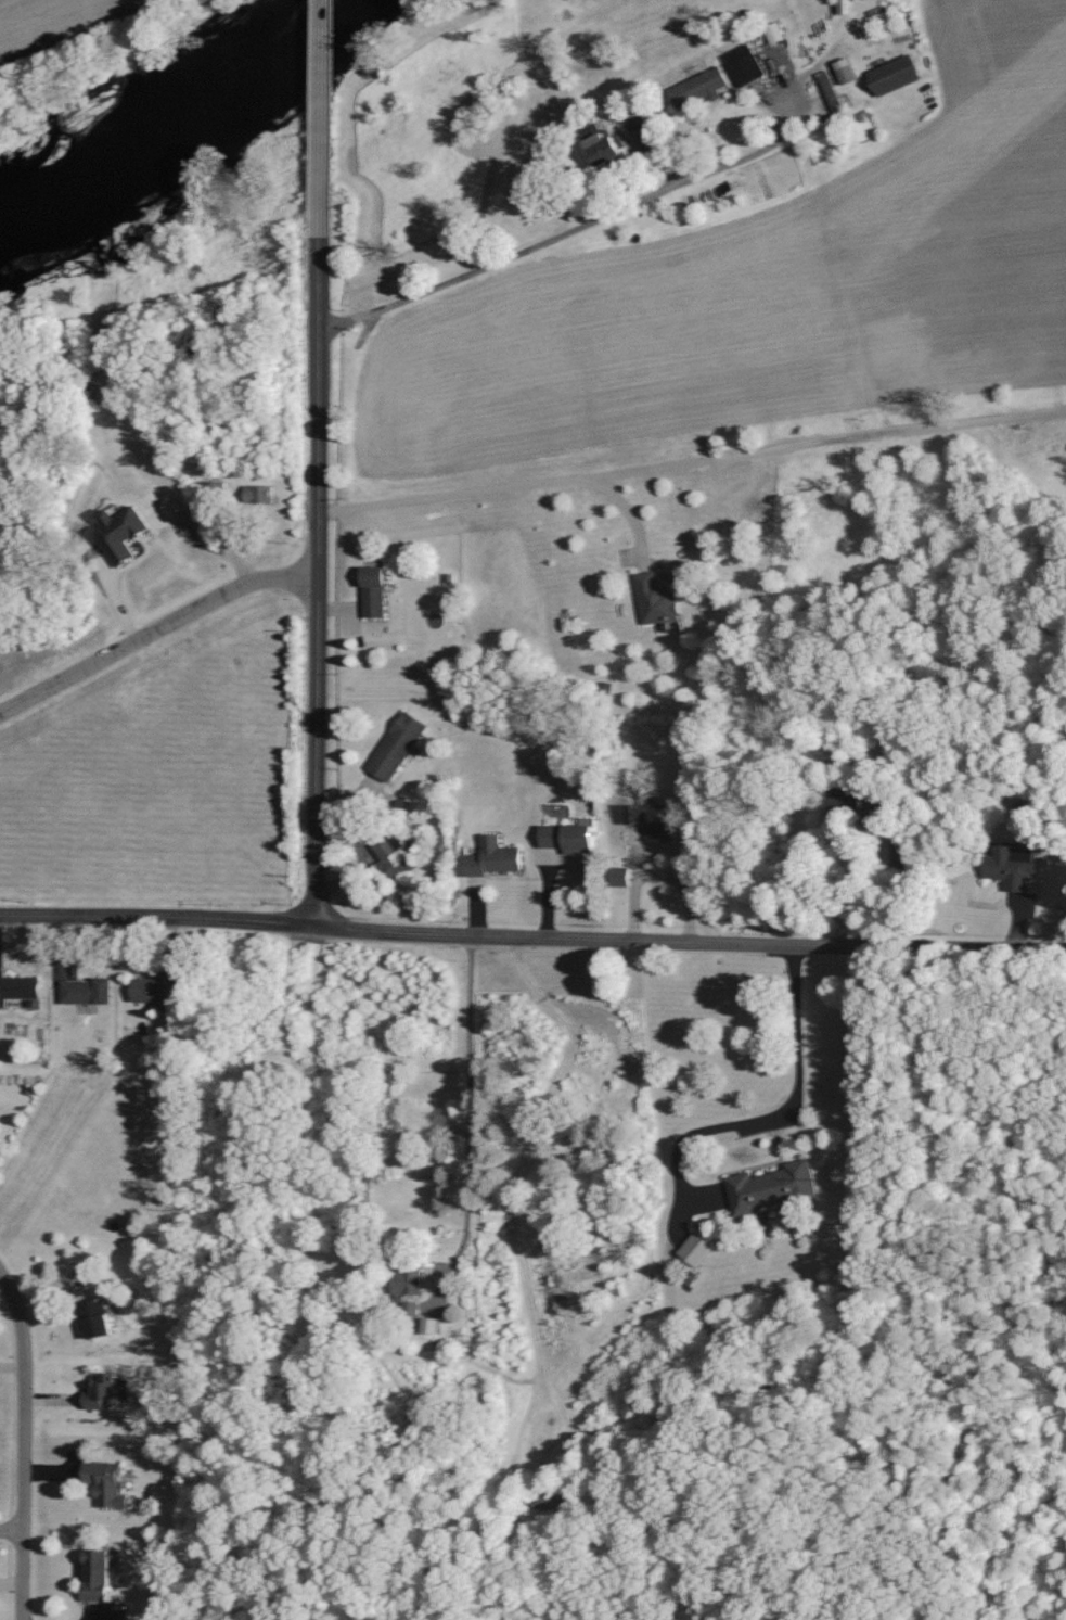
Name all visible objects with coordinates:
building: (776, 34)
building: (746, 65)
building: (849, 75)
building: (896, 75)
building: (829, 86)
building: (701, 88)
road: (320, 117)
river: (168, 125)
building: (607, 145)
road: (561, 231)
road: (505, 485)
building: (260, 494)
building: (123, 532)
road: (318, 581)
building: (375, 591)
building: (657, 599)
road: (155, 633)
building: (398, 745)
building: (887, 808)
building: (655, 819)
building: (571, 838)
building: (900, 852)
building: (495, 857)
building: (395, 858)
building: (1014, 866)
building: (621, 876)
road: (532, 935)
building: (18, 987)
building: (160, 990)
building: (88, 991)
road: (463, 1117)
road: (780, 1125)
building: (773, 1187)
road: (664, 1243)
building: (698, 1248)
building: (411, 1280)
building: (99, 1318)
building: (432, 1326)
building: (105, 1388)
road: (17, 1450)
building: (107, 1483)
road: (9, 1535)
building: (100, 1574)

